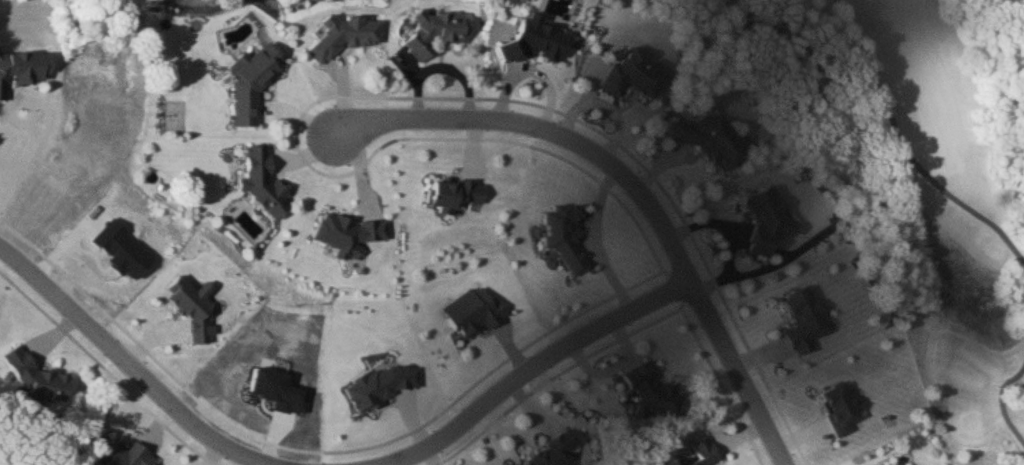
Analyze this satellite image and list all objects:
building: (438, 33)
building: (348, 35)
building: (636, 75)
building: (252, 86)
building: (711, 140)
road: (905, 148)
park: (914, 174)
building: (264, 184)
road: (637, 188)
building: (769, 219)
road: (134, 362)
road: (535, 367)
building: (40, 380)
road: (1002, 403)
building: (704, 451)
building: (555, 453)

